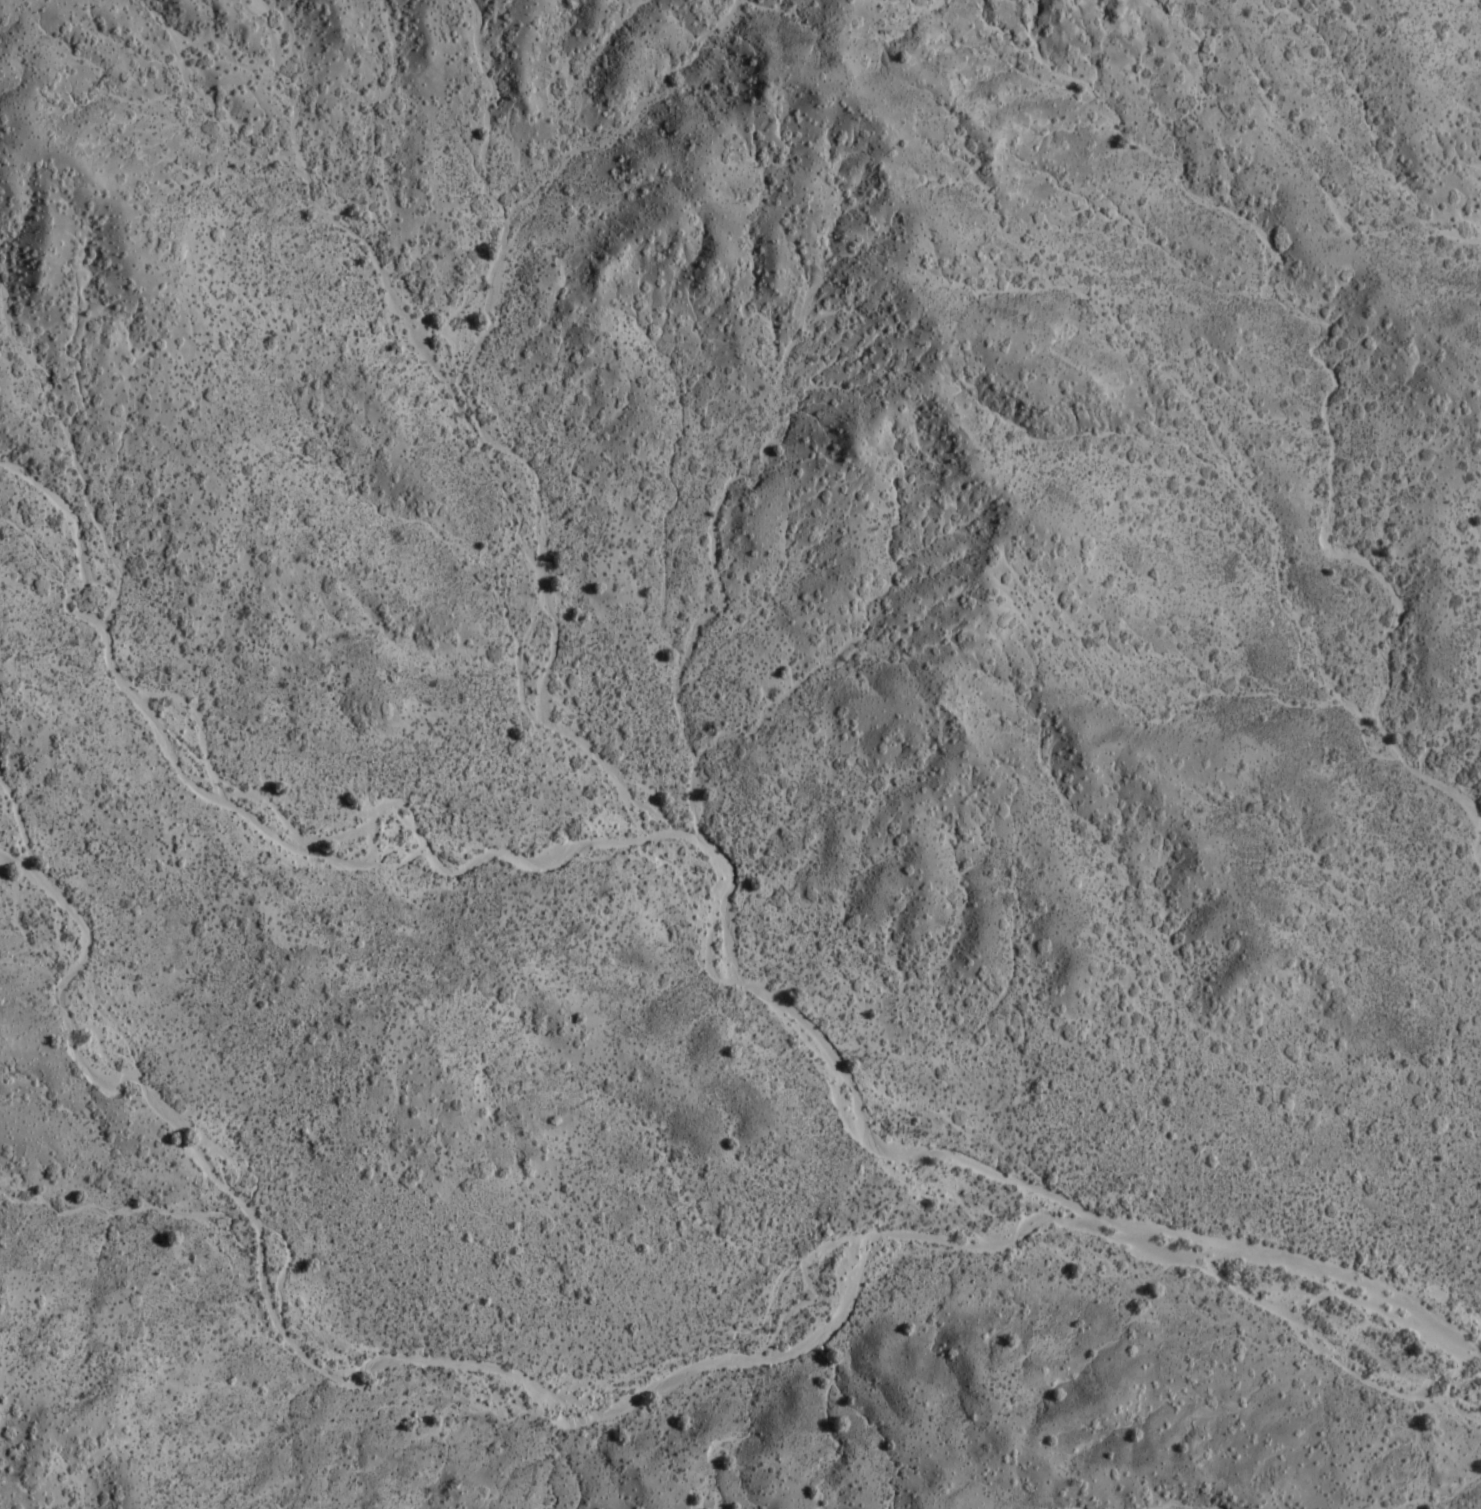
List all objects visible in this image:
road: (1345, 207)
river: (1275, 1257)

